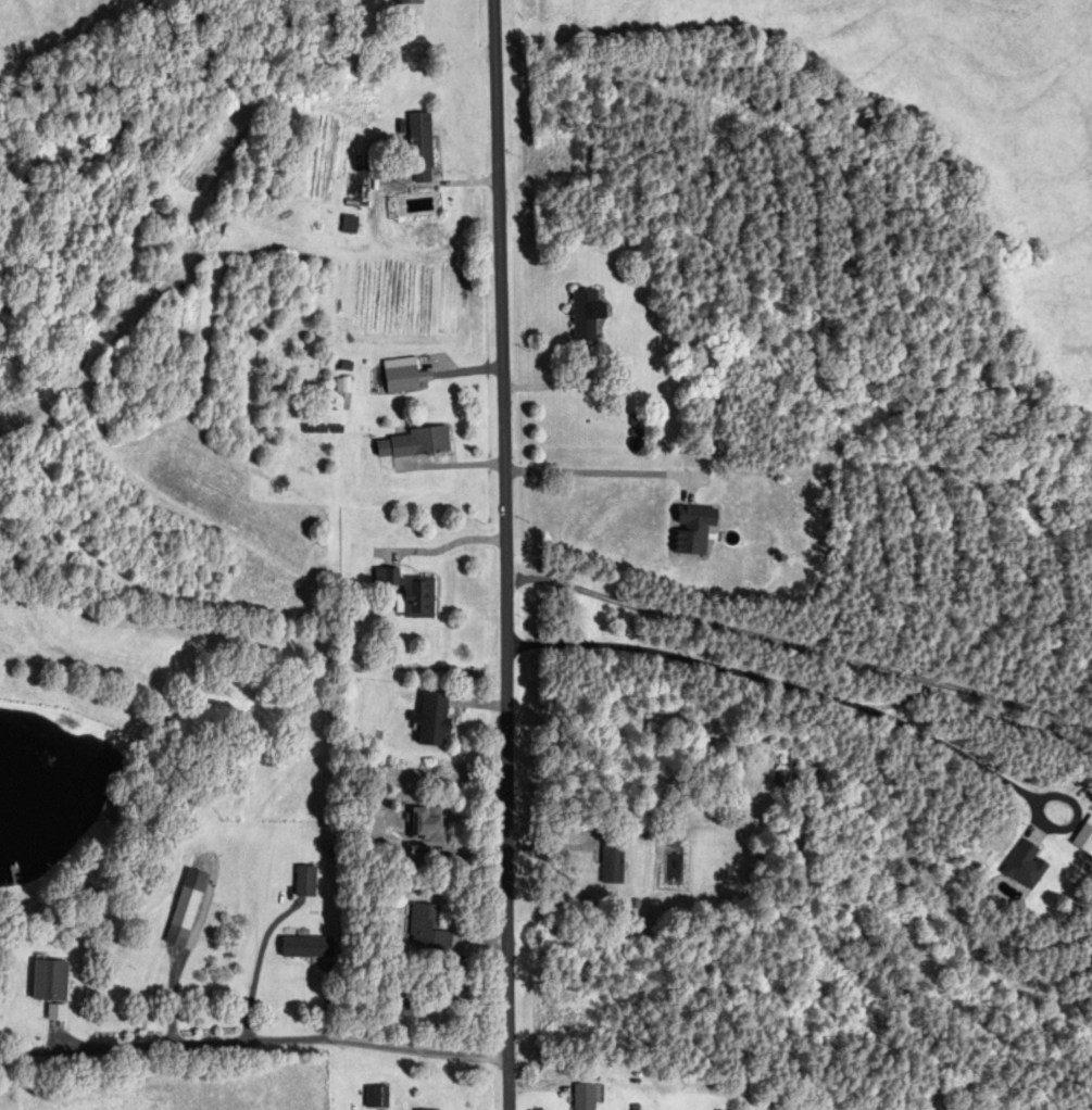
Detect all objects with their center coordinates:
building: (410, 2)
building: (421, 147)
building: (250, 187)
building: (585, 317)
building: (401, 380)
building: (415, 444)
road: (603, 471)
road: (509, 554)
building: (409, 593)
road: (846, 701)
building: (434, 721)
building: (112, 809)
building: (428, 824)
building: (612, 865)
building: (305, 882)
building: (186, 909)
building: (427, 930)
building: (306, 948)
road: (256, 964)
building: (50, 982)
road: (173, 982)
building: (401, 1012)
road: (280, 1038)
building: (376, 1097)
building: (583, 1097)

